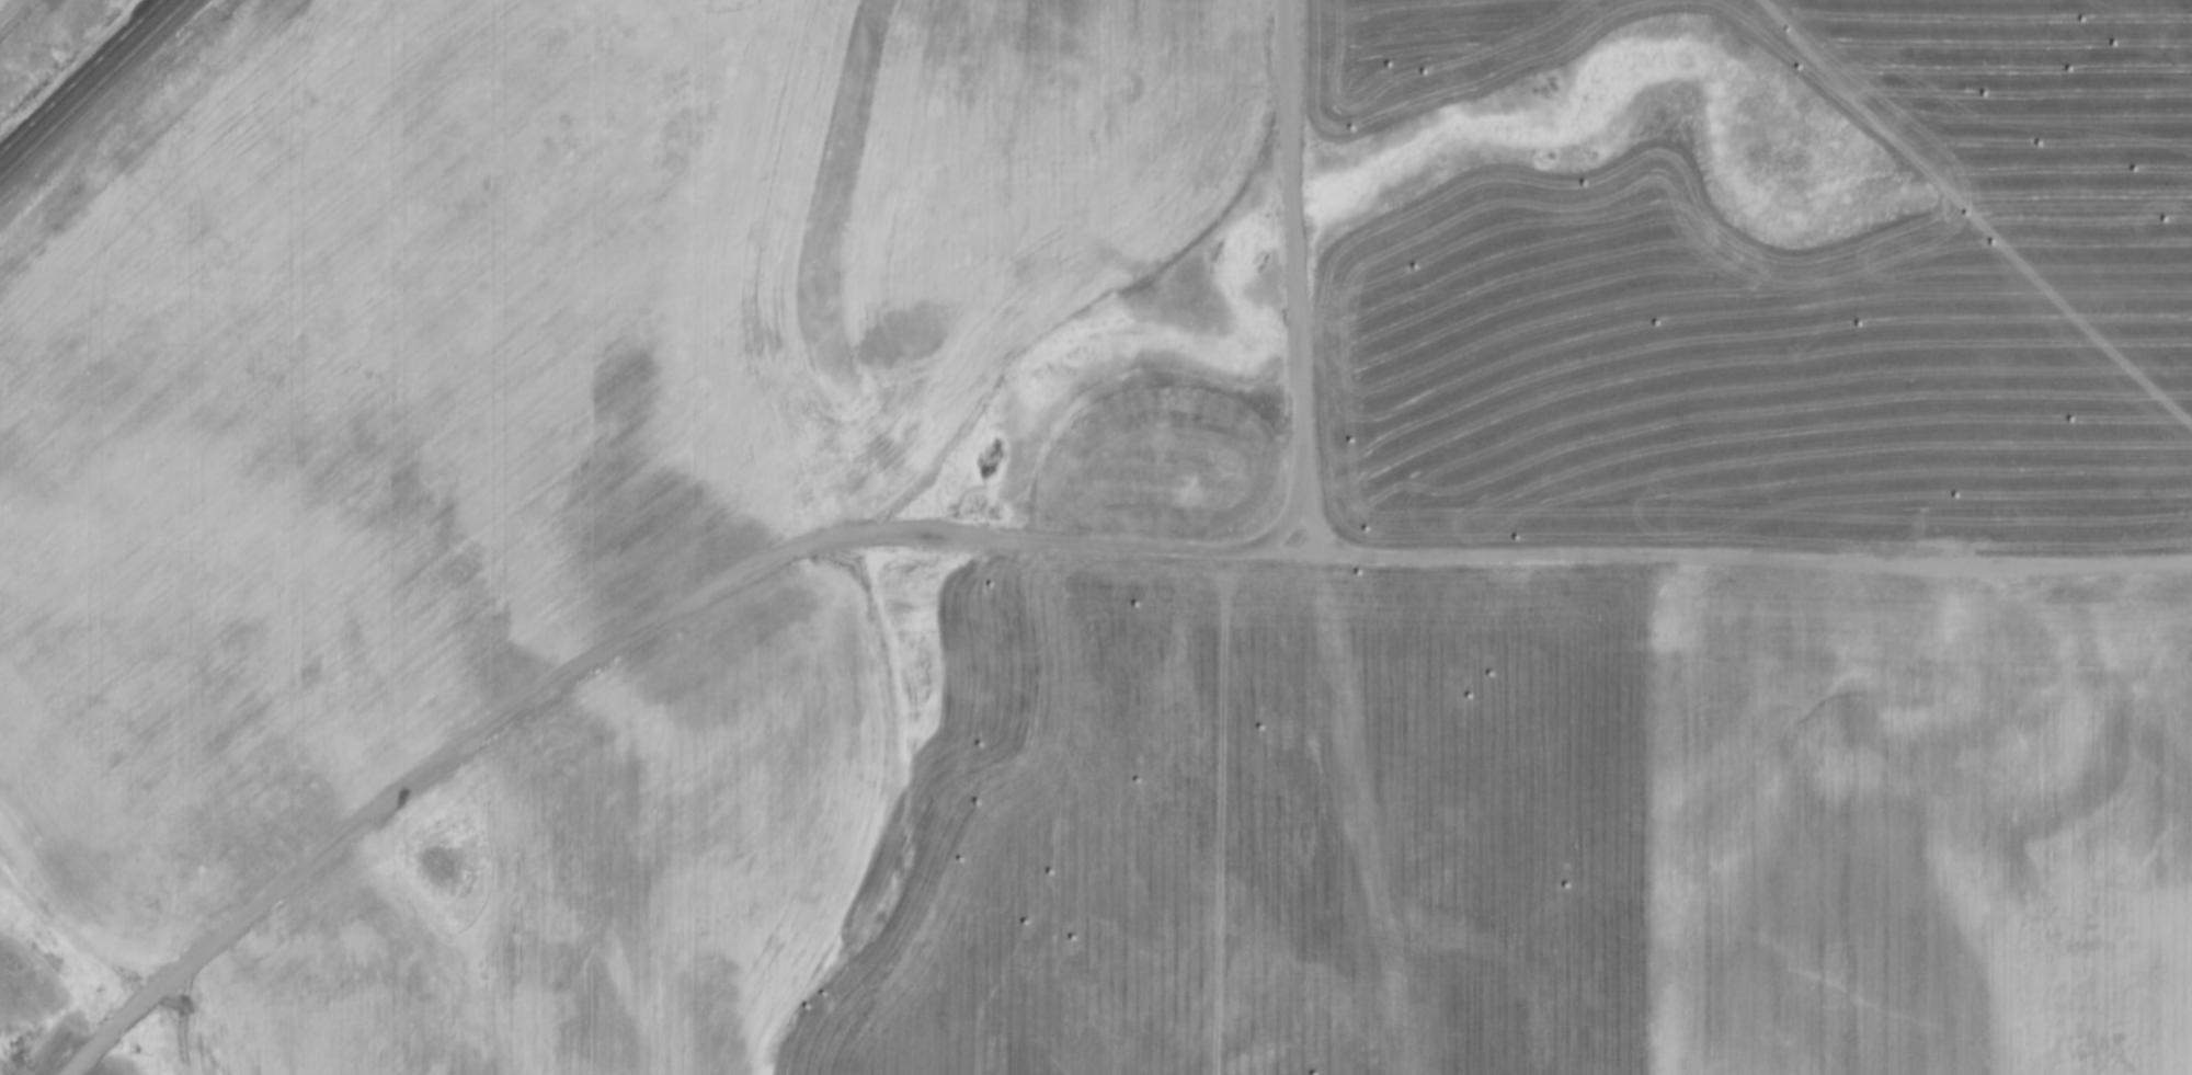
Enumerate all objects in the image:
road: (10, 10)
railway: (136, 26)
railway: (153, 32)
railway: (54, 105)
railway: (60, 122)
road: (1294, 275)
road: (1049, 535)
road: (1743, 560)
road: (419, 782)

